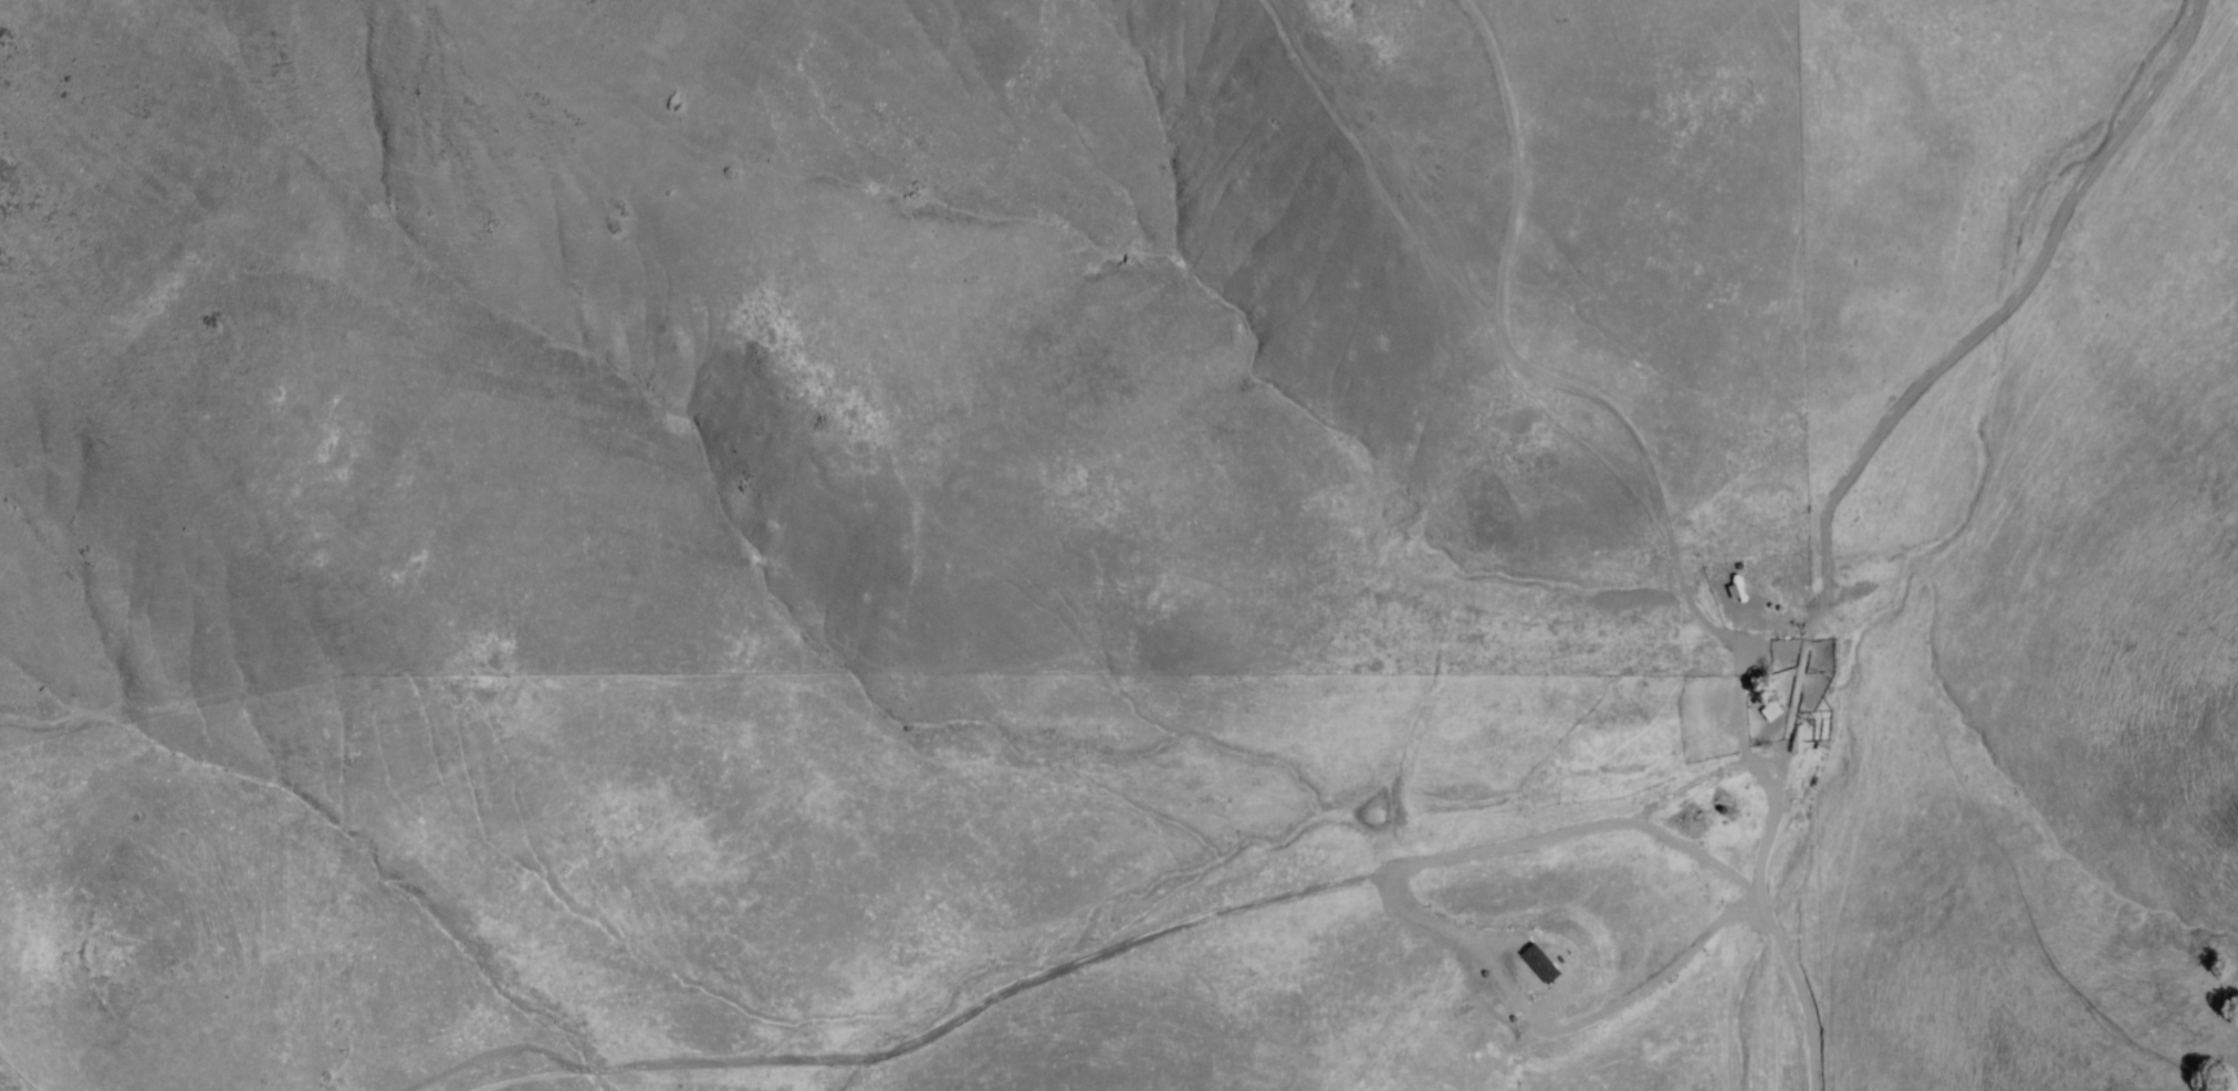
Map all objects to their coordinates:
road: (1763, 888)

